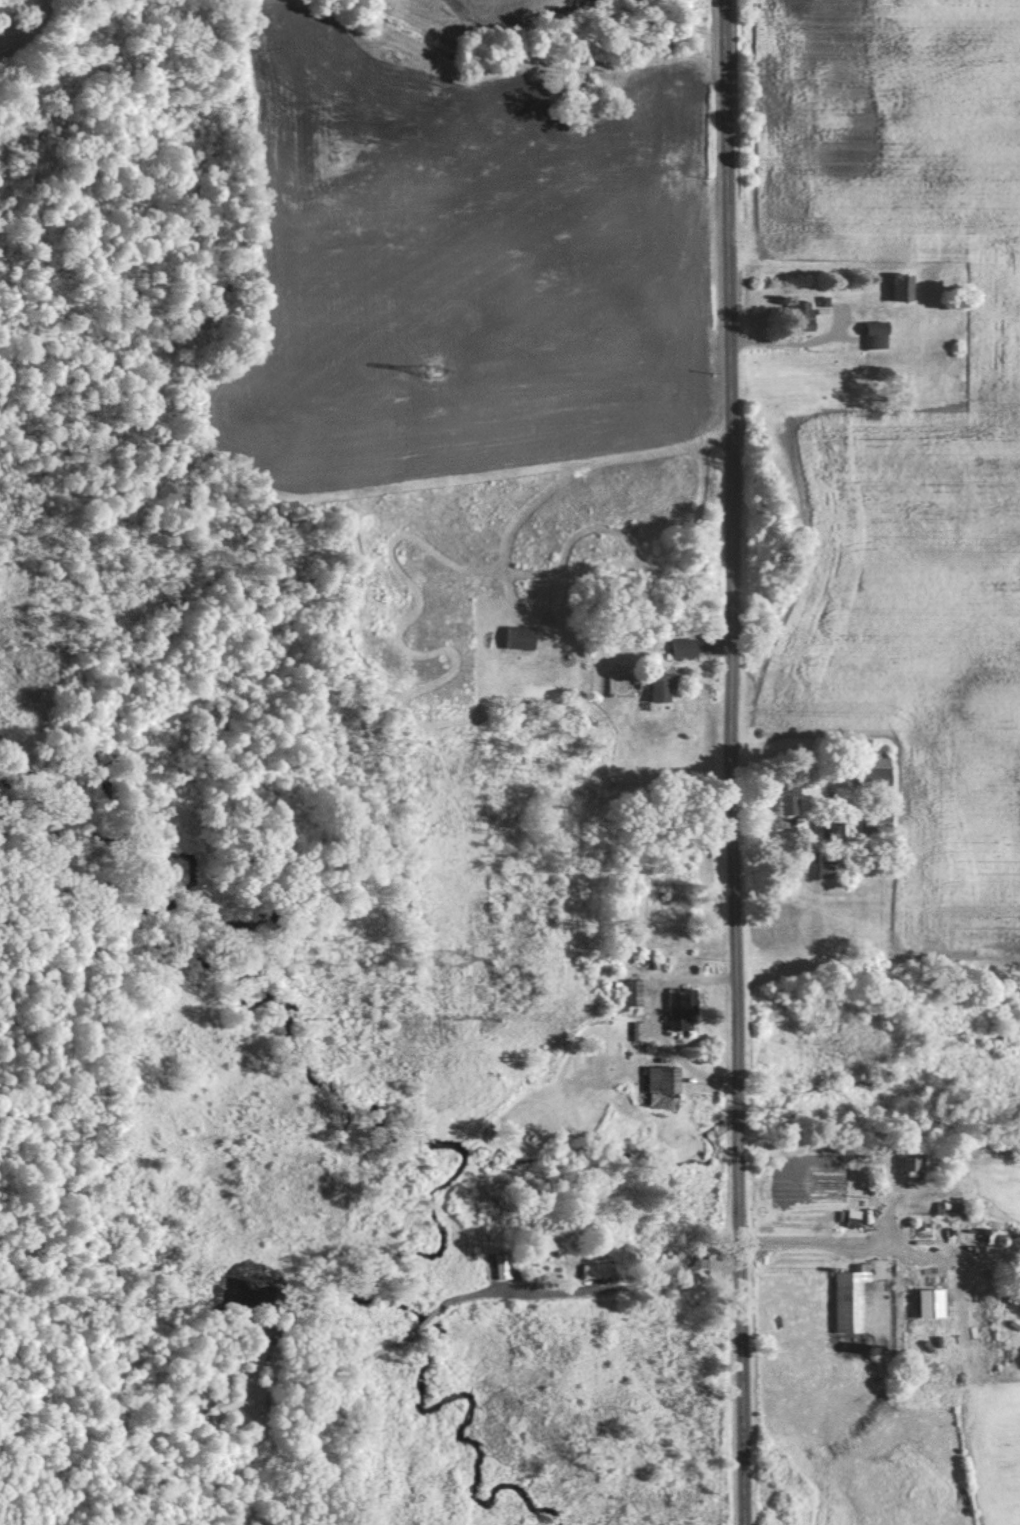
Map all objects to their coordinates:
building: (801, 314)
building: (874, 333)
road: (789, 346)
power tower: (429, 367)
building: (519, 636)
building: (663, 685)
road: (738, 762)
building: (876, 775)
building: (788, 801)
building: (875, 813)
building: (832, 825)
building: (828, 863)
power tower: (454, 956)
building: (631, 991)
building: (679, 1006)
building: (664, 1079)
building: (910, 1160)
building: (821, 1215)
building: (850, 1298)

